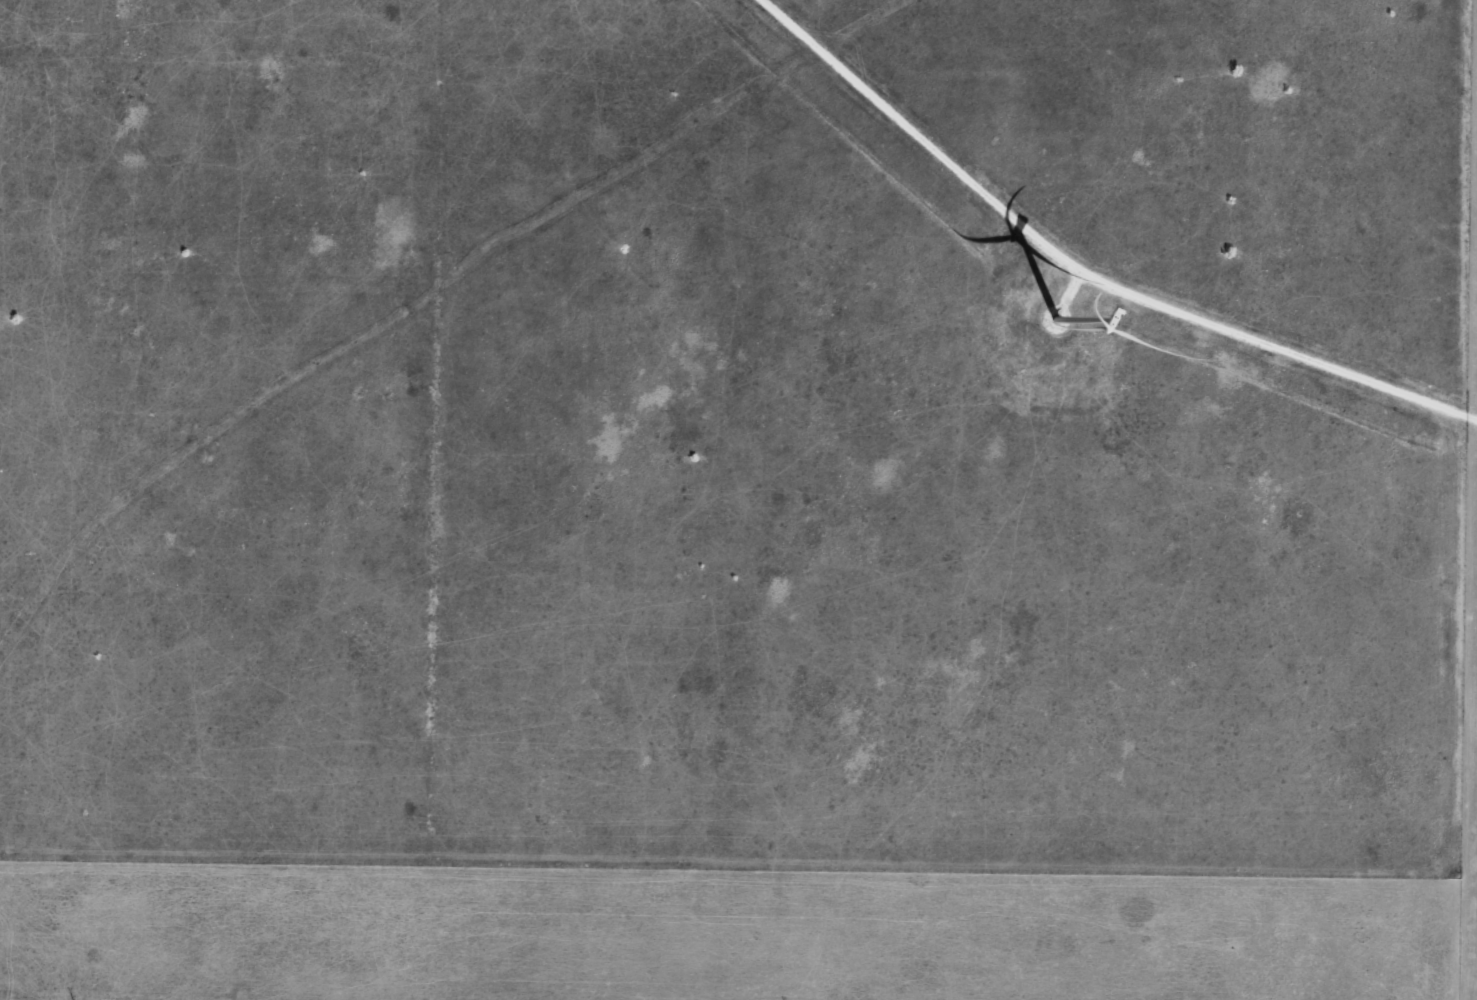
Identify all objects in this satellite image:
wind turbine: (1056, 320)

